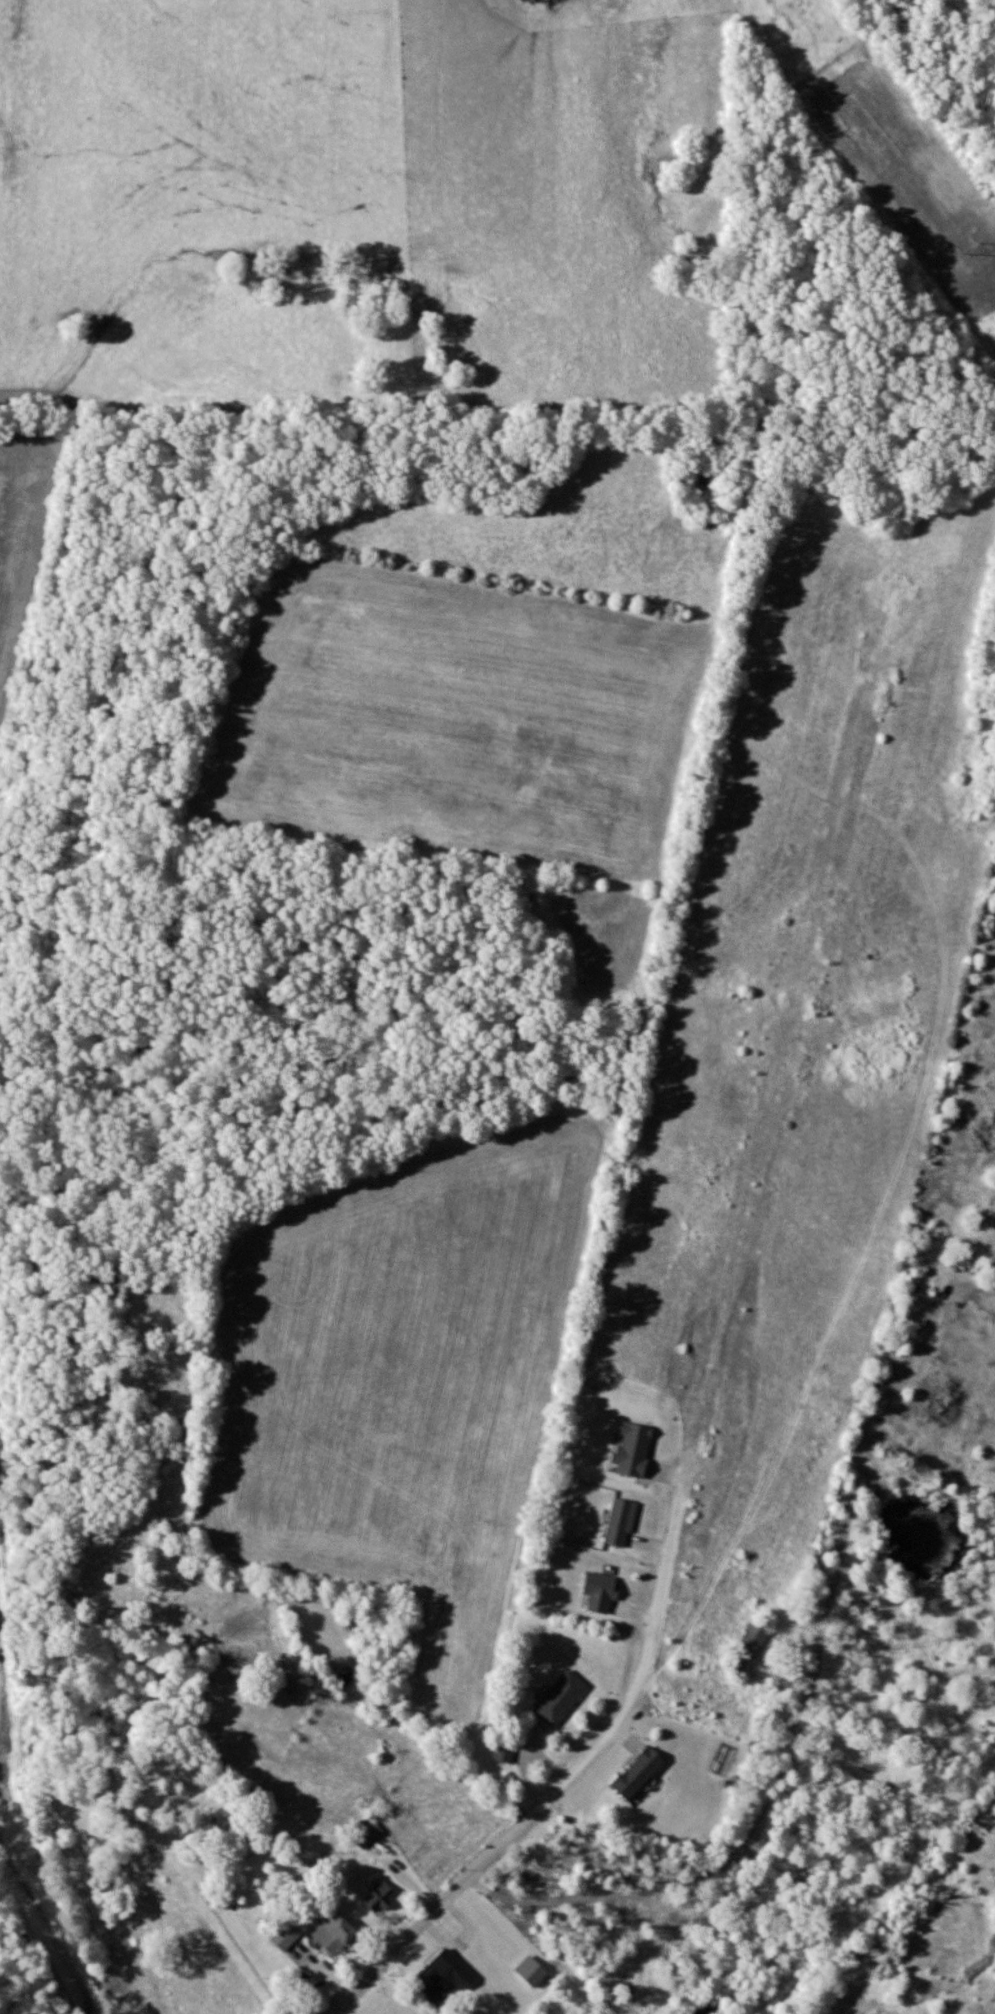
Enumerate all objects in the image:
power tower: (968, 249)
building: (633, 1449)
building: (620, 1524)
building: (601, 1592)
building: (752, 1645)
building: (561, 1699)
building: (504, 1752)
road: (580, 1774)
building: (638, 1774)
building: (366, 1833)
building: (247, 1847)
building: (379, 1897)
building: (336, 1937)
road: (50, 1938)
building: (532, 1972)
building: (443, 1978)

